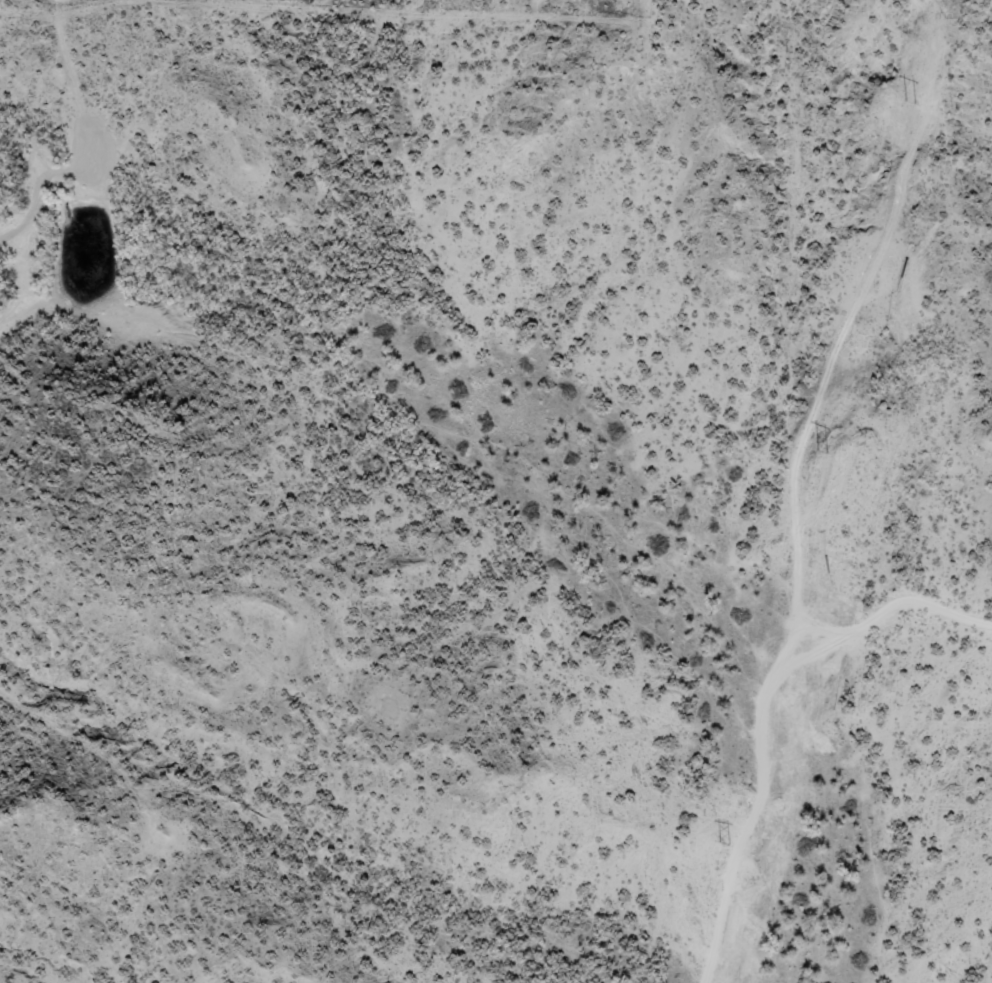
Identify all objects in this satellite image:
power tower: (911, 102)
power tower: (824, 450)
power tower: (725, 842)

